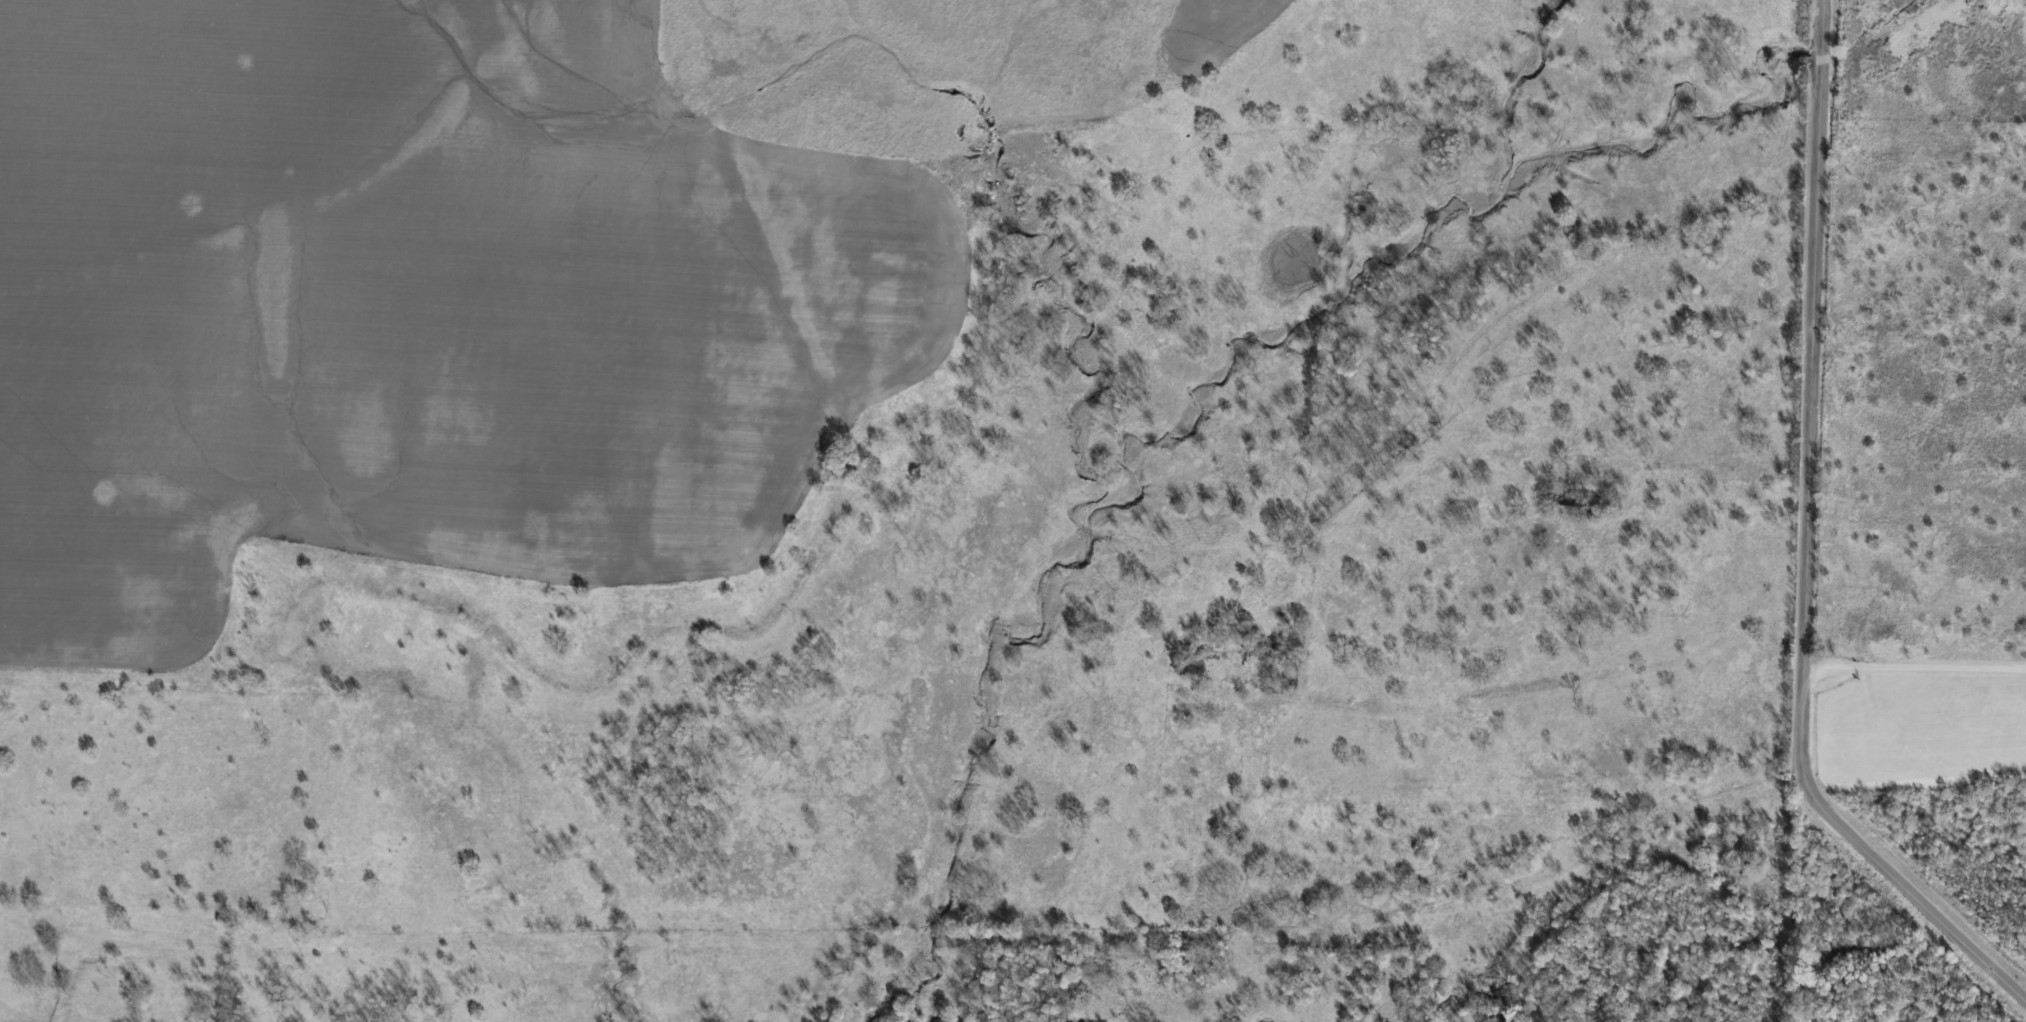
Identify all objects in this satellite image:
road: (1814, 543)
building: (1260, 655)
road: (1918, 666)

